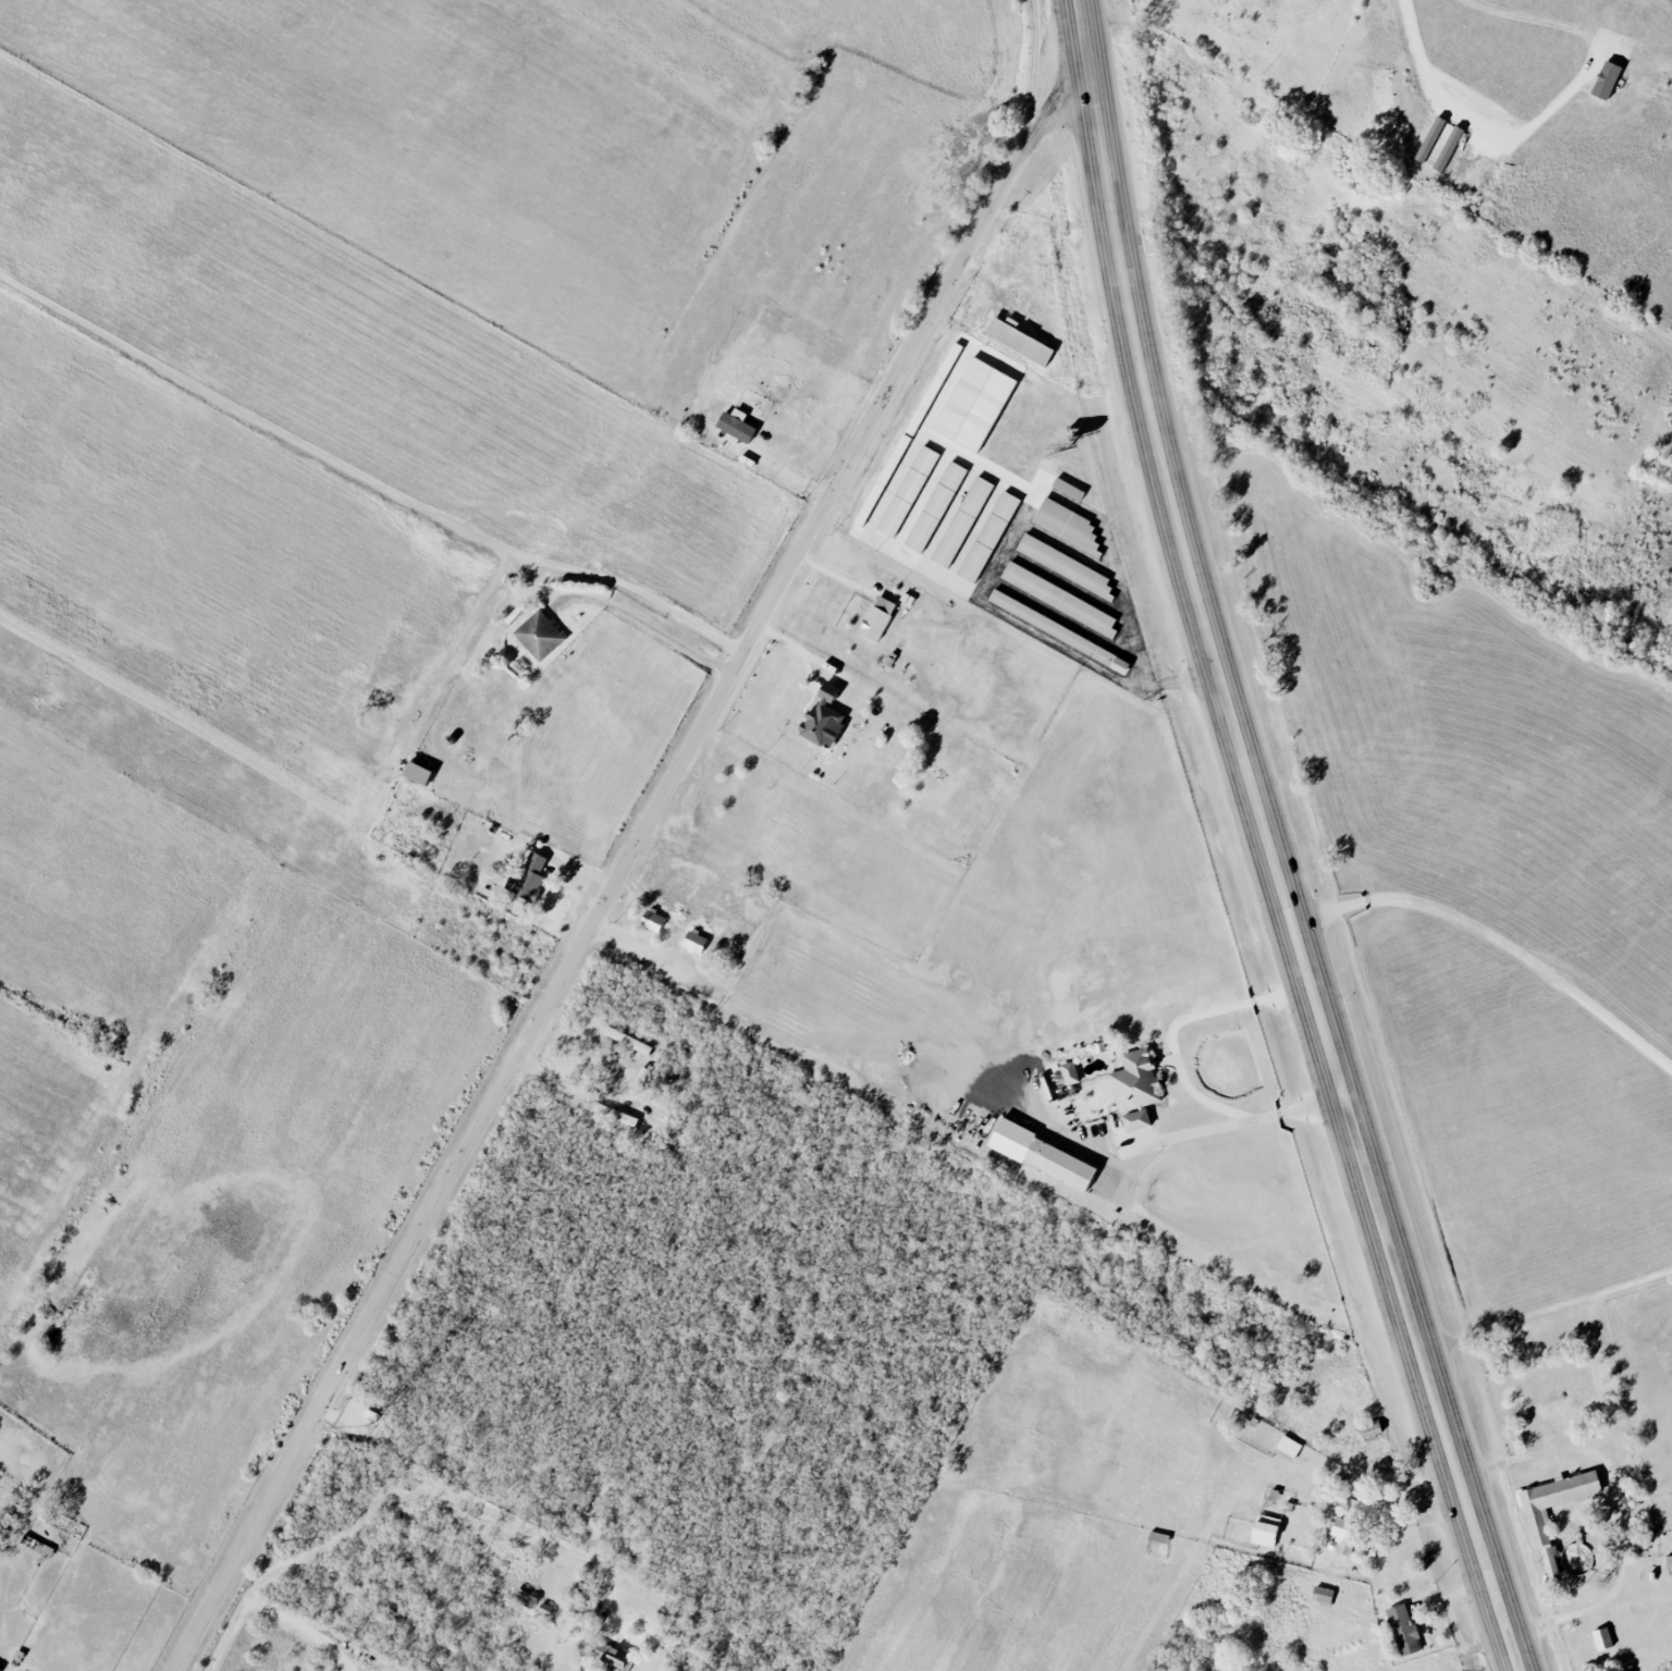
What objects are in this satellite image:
building: (1605, 81)
road: (1544, 110)
building: (1434, 140)
building: (1447, 149)
building: (1491, 179)
building: (1016, 340)
building: (973, 404)
building: (921, 414)
building: (735, 427)
road: (367, 469)
road: (785, 472)
road: (895, 478)
building: (1067, 489)
building: (907, 491)
building: (935, 506)
building: (961, 521)
building: (1066, 526)
building: (987, 537)
road: (1004, 545)
building: (1065, 566)
building: (1058, 599)
road: (646, 618)
building: (876, 619)
building: (539, 636)
building: (821, 716)
road: (1277, 843)
road: (620, 869)
building: (527, 877)
building: (651, 920)
road: (1501, 938)
building: (694, 941)
road: (1180, 1070)
building: (1069, 1072)
building: (1134, 1082)
building: (1135, 1120)
road: (1192, 1134)
building: (1042, 1155)
road: (1553, 1307)
building: (1288, 1447)
road: (396, 1478)
building: (1553, 1501)
road: (1620, 1507)
building: (1349, 1528)
building: (1264, 1531)
building: (1550, 1560)
building: (1321, 1595)
road: (1640, 1596)
road: (304, 1627)
building: (1402, 1630)
building: (1601, 1638)
building: (607, 1655)

